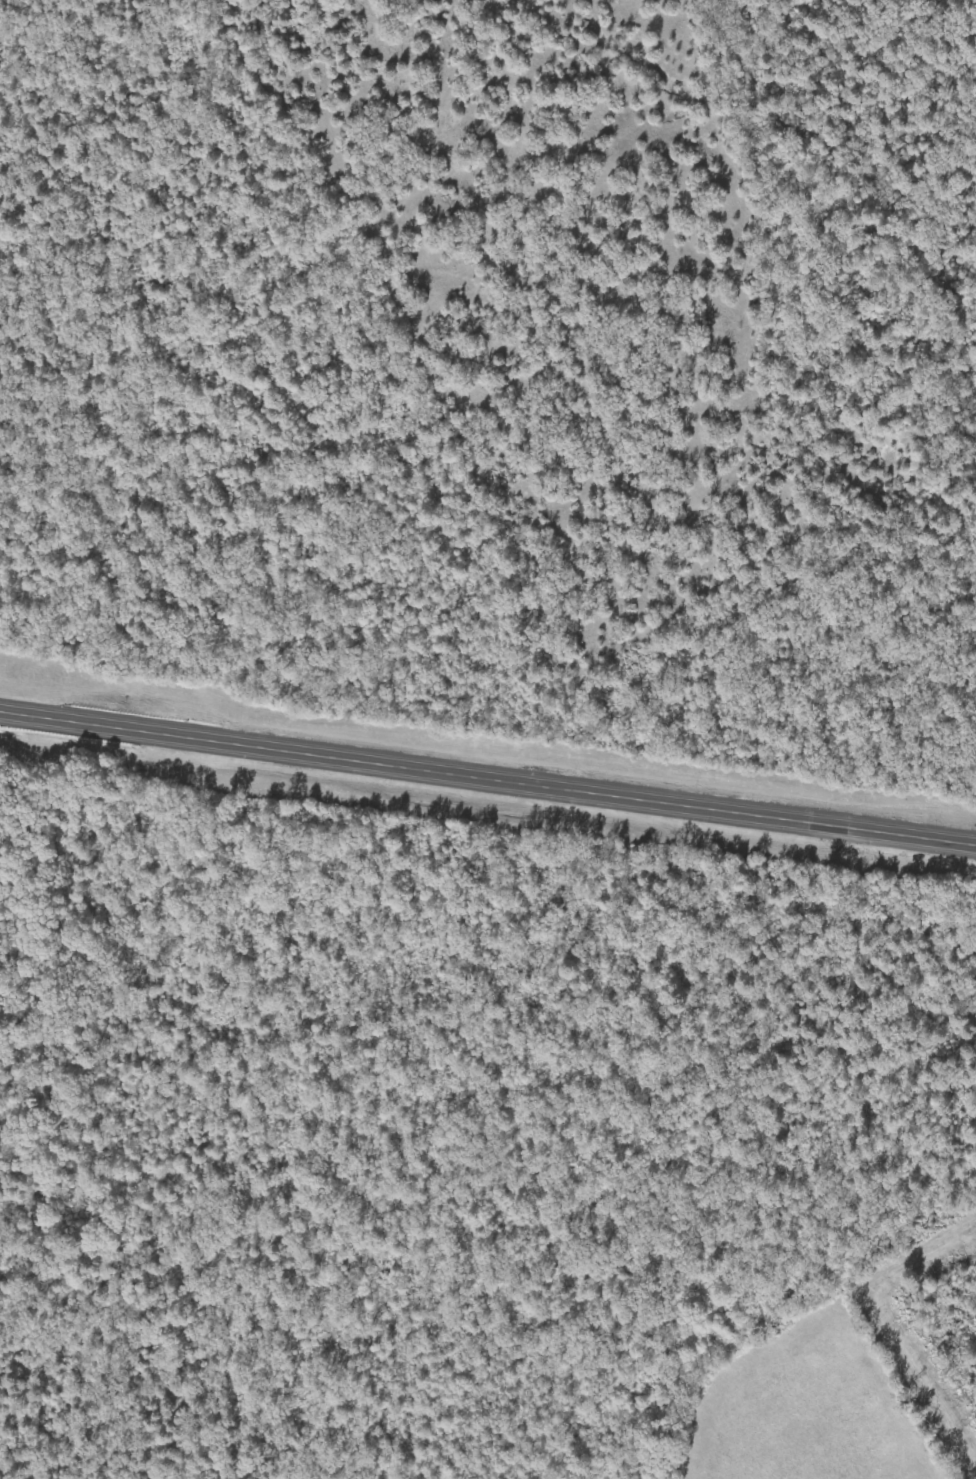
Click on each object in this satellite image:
road: (488, 783)

